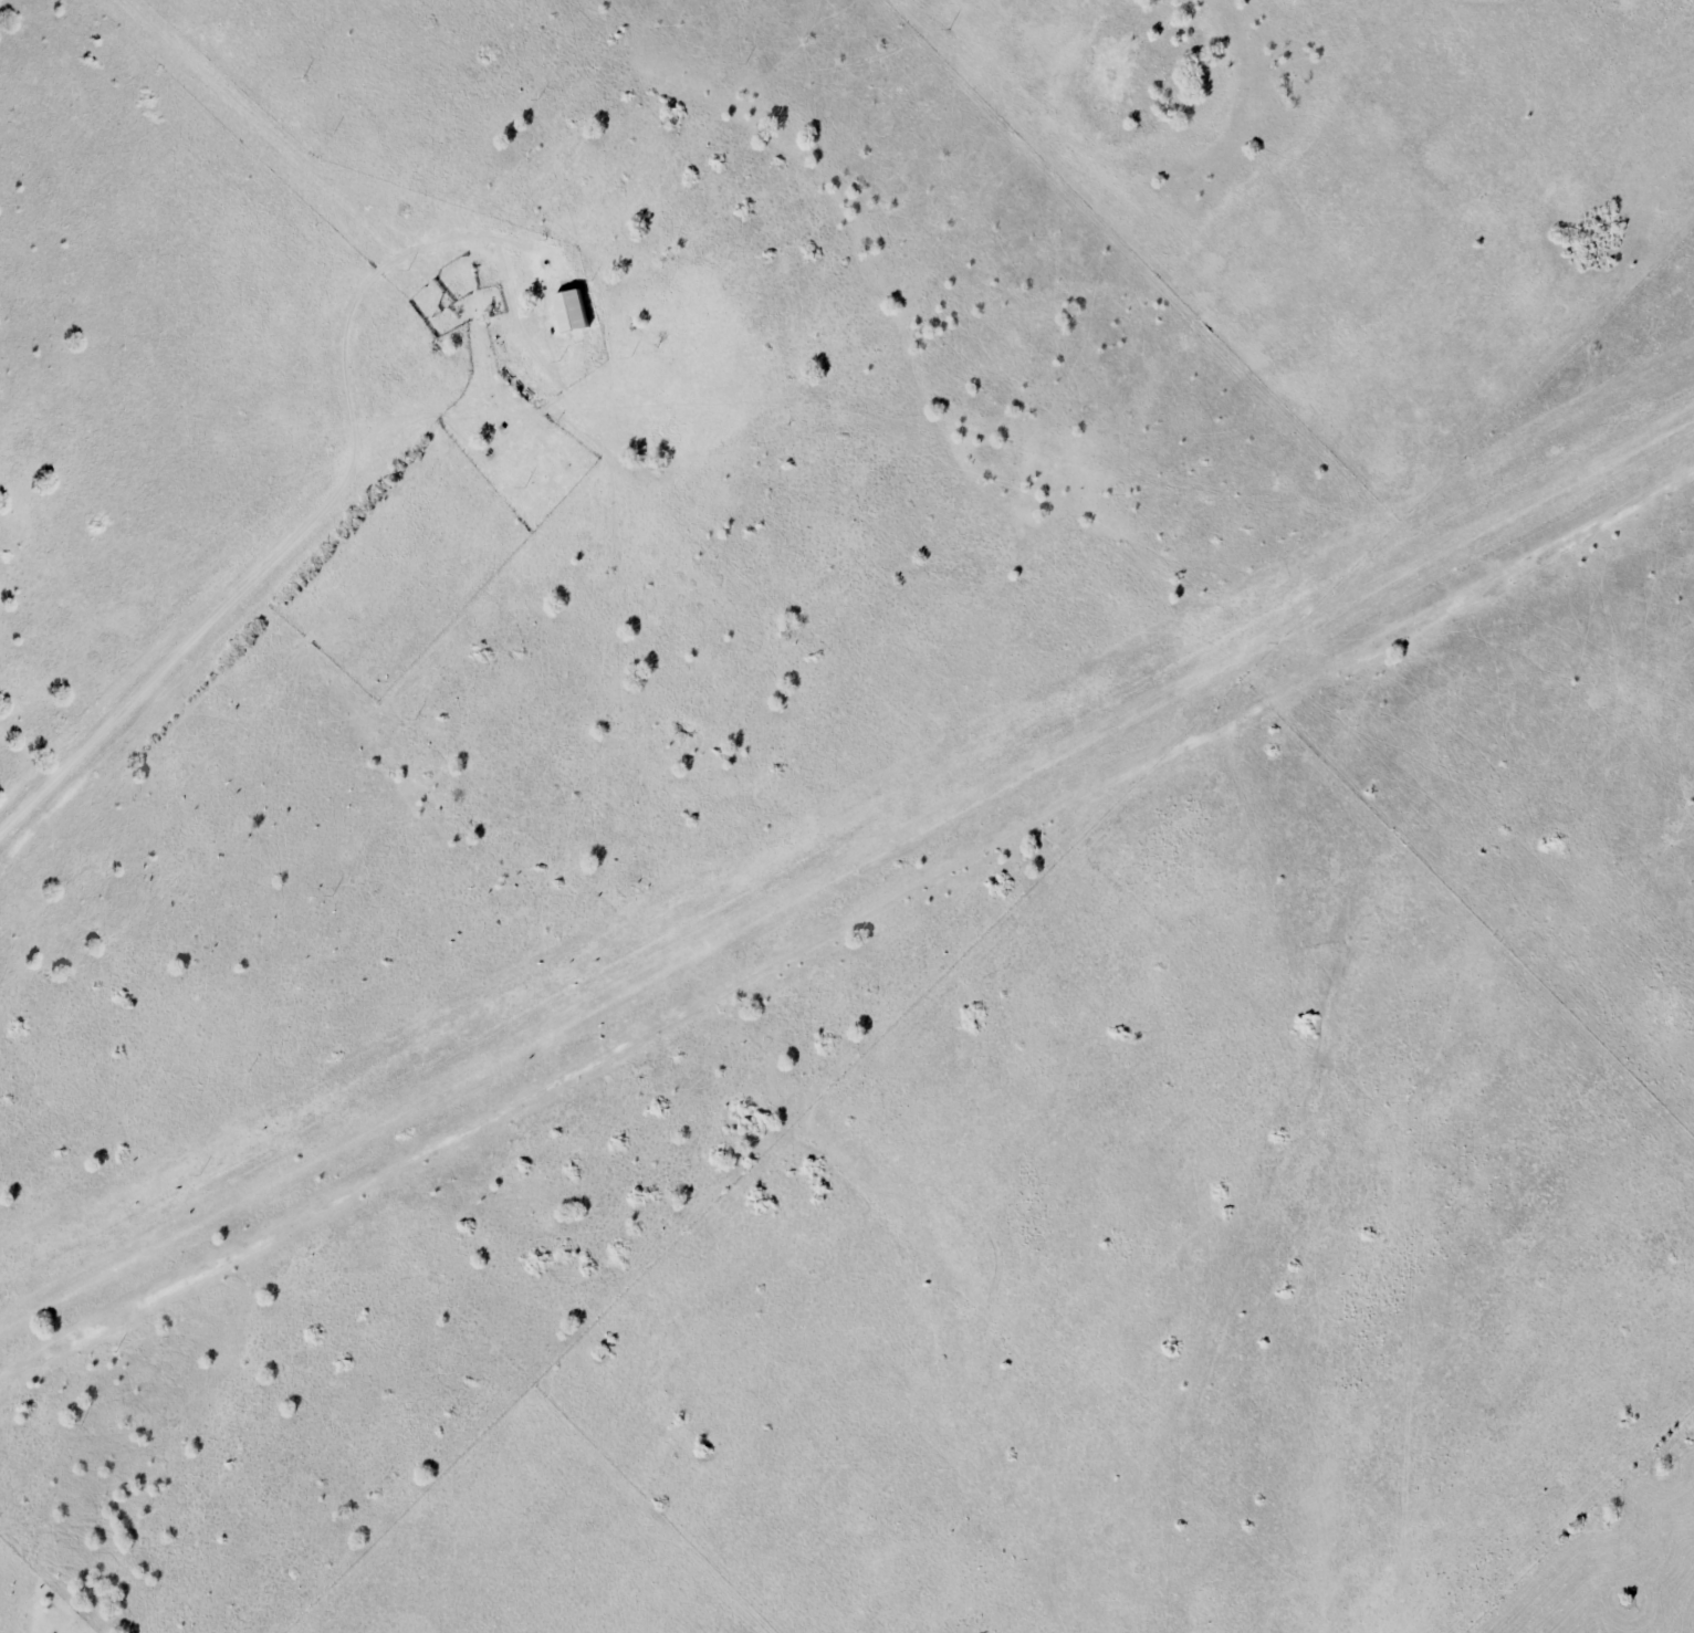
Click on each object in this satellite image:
road: (270, 150)
building: (575, 312)

